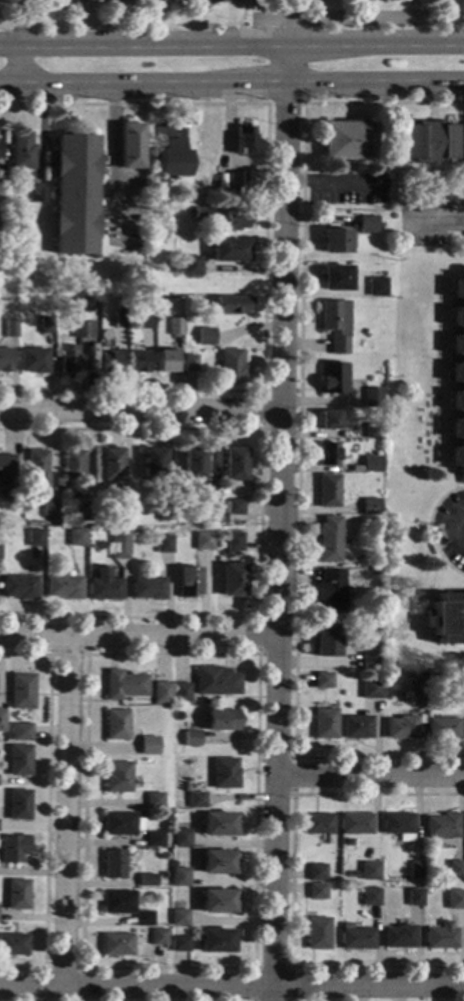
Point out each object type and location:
building: (212, 2)
road: (252, 2)
road: (252, 11)
road: (195, 12)
road: (386, 17)
road: (272, 18)
road: (18, 24)
road: (131, 24)
road: (290, 25)
road: (251, 29)
road: (232, 47)
road: (14, 68)
road: (232, 86)
road: (285, 104)
building: (170, 132)
road: (111, 136)
building: (207, 136)
building: (243, 141)
building: (348, 141)
building: (428, 141)
building: (463, 141)
building: (129, 146)
building: (22, 151)
road: (462, 153)
building: (173, 159)
building: (387, 169)
building: (2, 174)
building: (236, 181)
road: (328, 181)
building: (32, 194)
building: (74, 195)
building: (201, 213)
building: (236, 220)
parking lot: (432, 222)
road: (436, 223)
building: (367, 225)
building: (334, 241)
road: (265, 246)
building: (397, 249)
building: (229, 251)
building: (192, 266)
building: (171, 267)
building: (335, 278)
building: (376, 287)
building: (231, 305)
building: (60, 306)
building: (120, 307)
building: (173, 311)
building: (119, 320)
building: (145, 320)
building: (44, 325)
building: (332, 326)
building: (175, 327)
building: (9, 328)
building: (82, 331)
building: (205, 337)
building: (68, 358)
building: (5, 361)
building: (33, 361)
building: (109, 362)
building: (138, 362)
building: (166, 362)
building: (189, 363)
building: (231, 367)
building: (331, 378)
building: (458, 379)
road: (262, 392)
building: (372, 397)
road: (138, 411)
building: (328, 420)
building: (372, 431)
road: (298, 436)
building: (330, 453)
building: (71, 464)
building: (234, 464)
building: (371, 464)
building: (109, 465)
building: (153, 465)
building: (193, 465)
building: (36, 468)
building: (6, 477)
road: (454, 480)
building: (327, 491)
building: (208, 493)
building: (370, 506)
building: (50, 508)
building: (235, 508)
building: (82, 512)
building: (124, 512)
building: (166, 512)
building: (16, 520)
road: (260, 522)
road: (277, 523)
road: (429, 529)
parking lot: (450, 529)
road: (453, 531)
building: (76, 537)
building: (34, 538)
building: (120, 538)
building: (328, 539)
building: (203, 541)
building: (234, 542)
building: (163, 544)
building: (375, 571)
building: (232, 580)
building: (187, 582)
road: (428, 583)
building: (104, 586)
building: (19, 587)
building: (63, 587)
building: (147, 588)
building: (331, 591)
building: (445, 618)
road: (138, 636)
building: (325, 640)
road: (259, 654)
road: (49, 655)
building: (368, 657)
building: (322, 680)
building: (216, 681)
building: (123, 685)
building: (370, 689)
building: (457, 689)
building: (417, 690)
building: (20, 691)
building: (161, 693)
building: (181, 693)
building: (1, 709)
building: (1, 720)
building: (223, 721)
building: (324, 724)
building: (116, 725)
building: (356, 727)
building: (400, 728)
building: (442, 728)
building: (20, 732)
building: (192, 739)
building: (147, 745)
road: (293, 759)
building: (18, 761)
building: (225, 773)
road: (370, 776)
building: (117, 777)
building: (192, 786)
building: (153, 800)
building: (197, 800)
building: (18, 805)
road: (46, 810)
road: (66, 812)
building: (166, 813)
building: (121, 824)
building: (218, 824)
building: (318, 824)
building: (355, 824)
building: (399, 825)
building: (442, 826)
building: (181, 838)
building: (153, 840)
building: (13, 848)
building: (217, 862)
building: (113, 864)
building: (415, 870)
building: (455, 870)
building: (370, 871)
building: (317, 872)
building: (179, 877)
building: (146, 881)
road: (291, 883)
building: (317, 891)
building: (16, 894)
building: (370, 897)
building: (414, 897)
building: (455, 900)
building: (216, 901)
building: (117, 902)
building: (178, 917)
building: (143, 919)
building: (317, 933)
building: (158, 937)
building: (398, 937)
building: (440, 937)
building: (355, 938)
building: (216, 941)
building: (179, 944)
building: (13, 945)
building: (116, 945)
road: (254, 967)
road: (272, 968)
road: (46, 969)
road: (231, 988)

